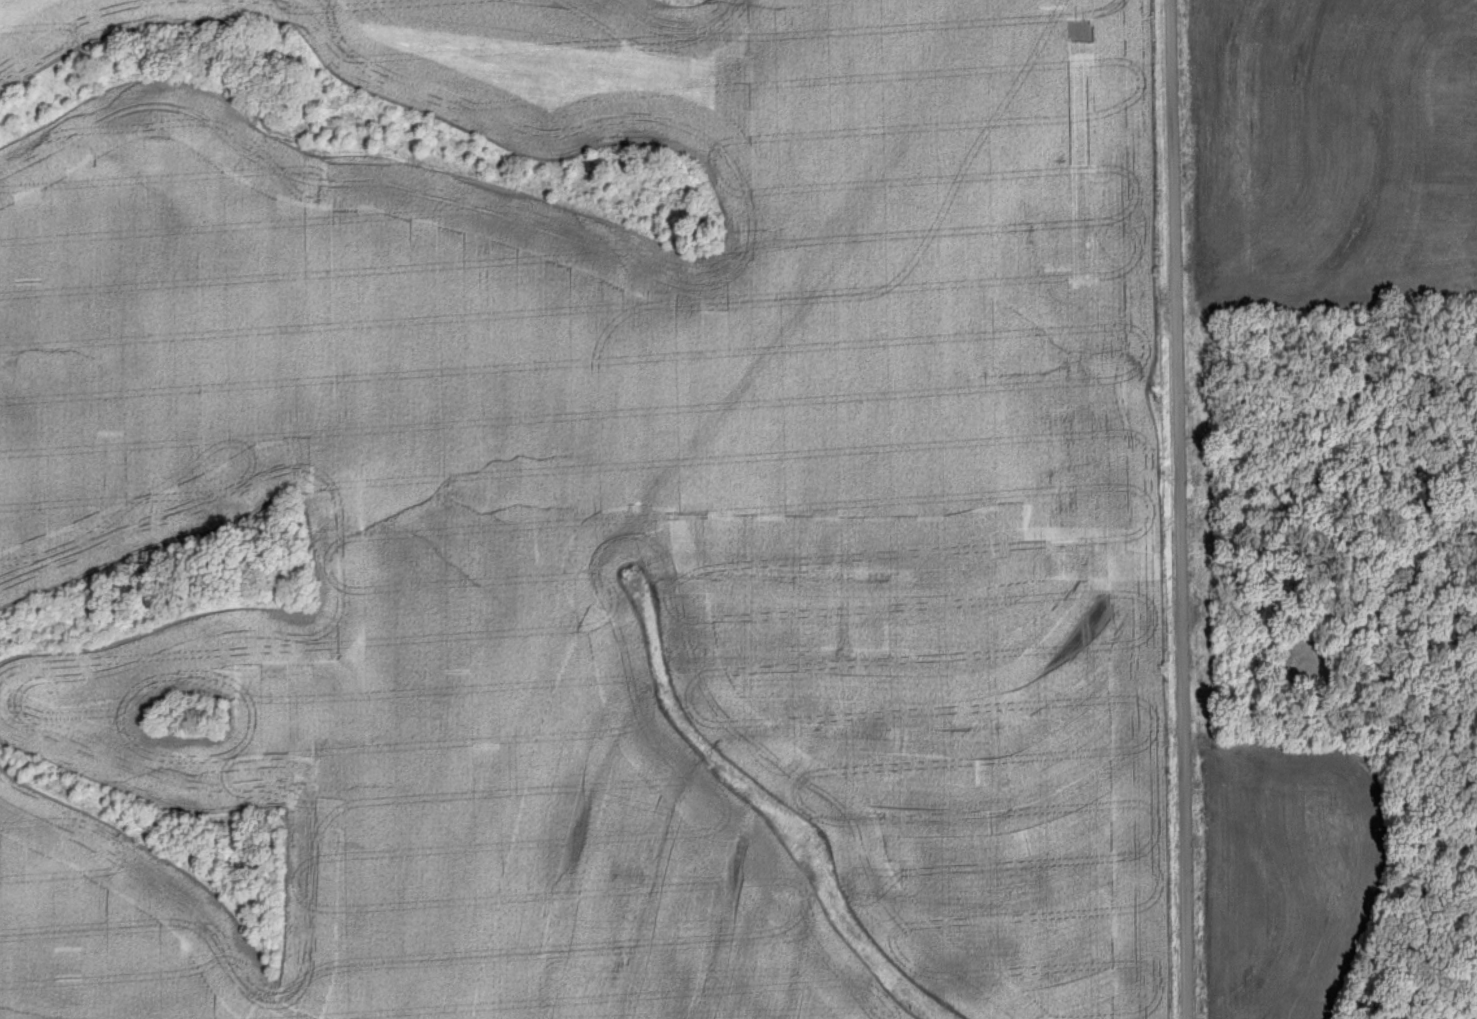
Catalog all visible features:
road: (1176, 509)

